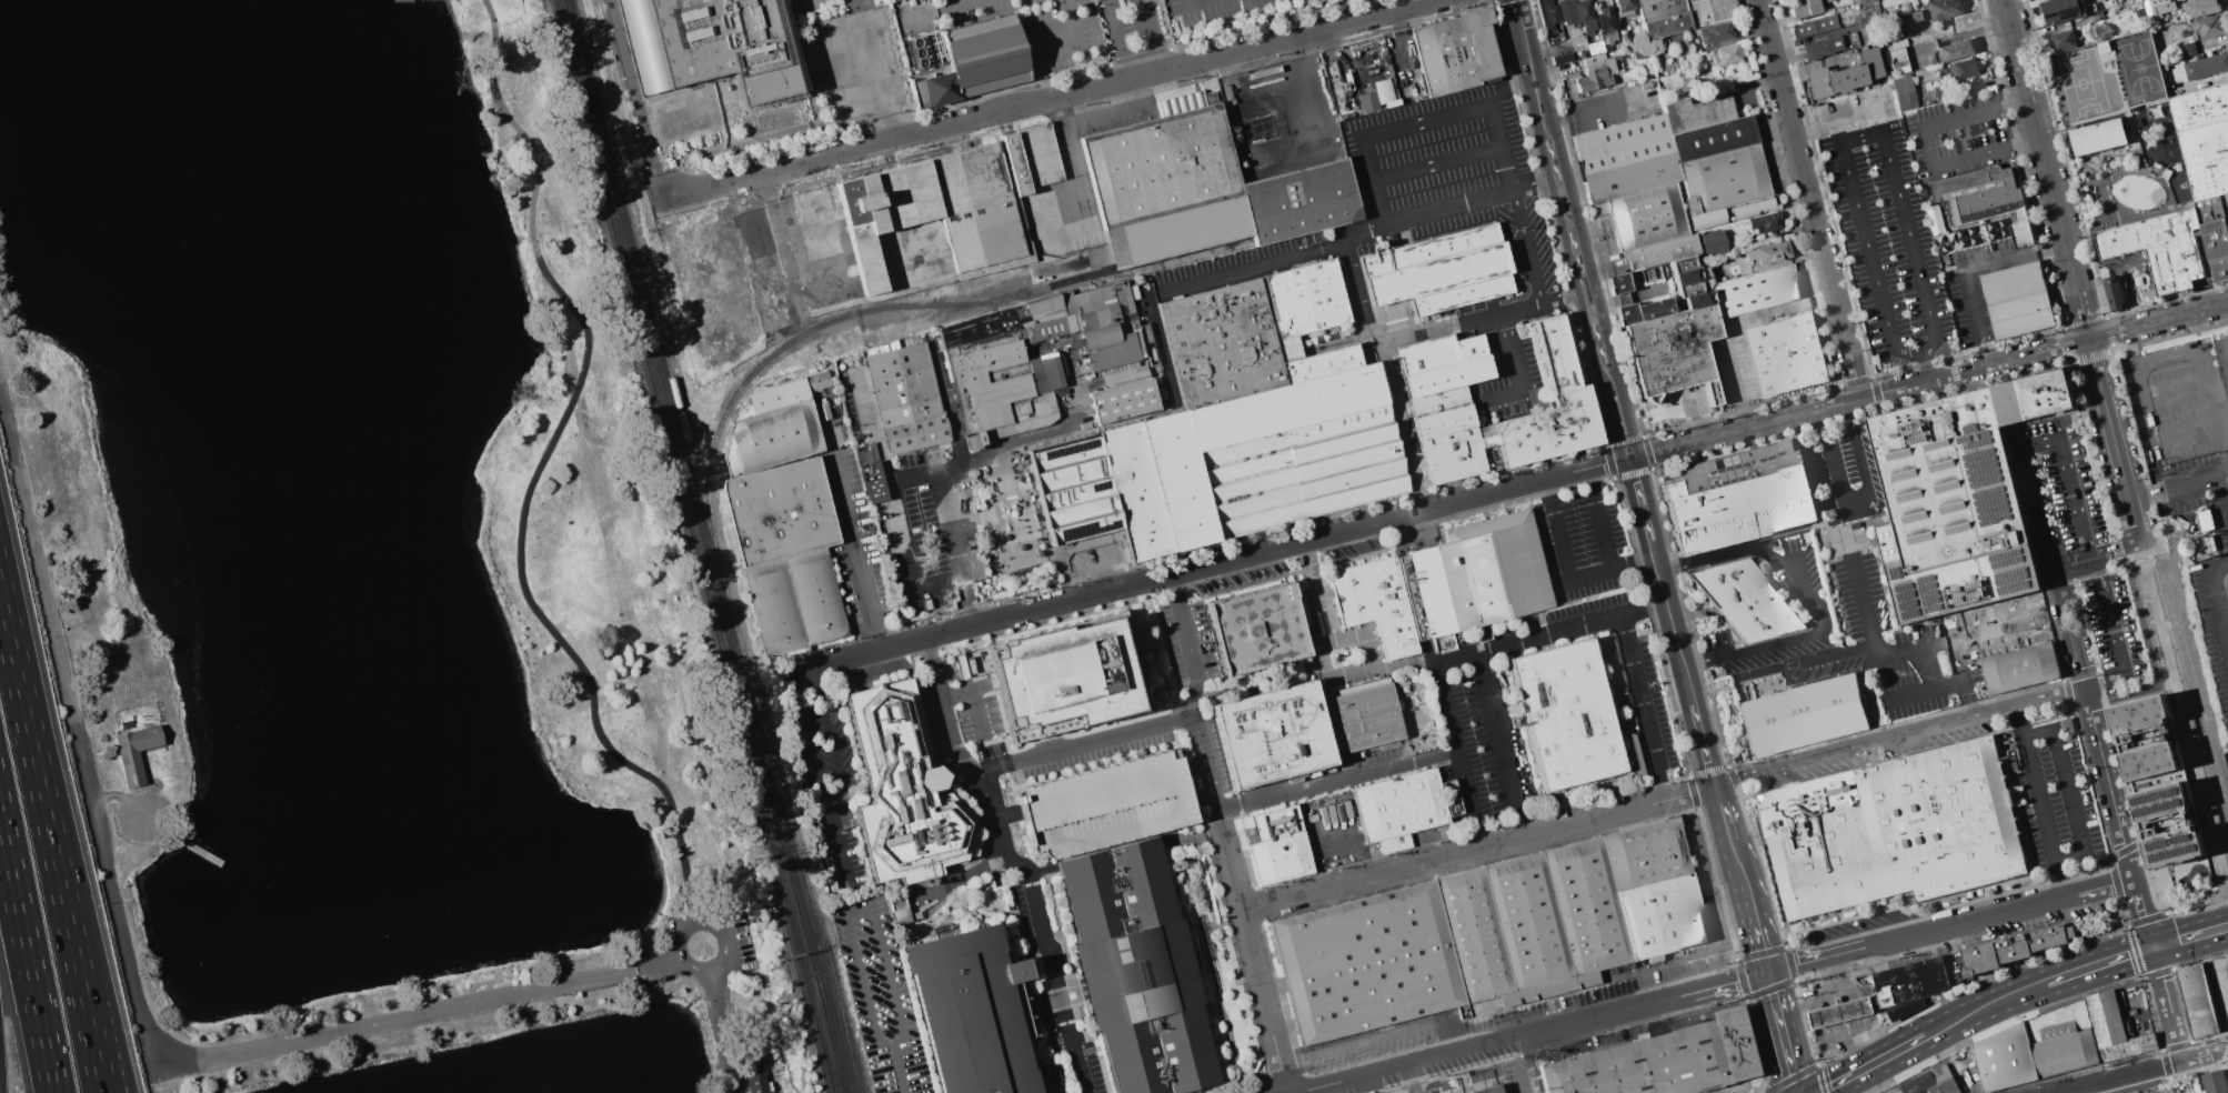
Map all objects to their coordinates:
pier: (401, 0)
road: (1190, 1)
road: (961, 3)
building: (1625, 7)
building: (1806, 7)
building: (2202, 7)
building: (1943, 8)
building: (2157, 8)
building: (1722, 10)
building: (2063, 10)
building: (1567, 11)
building: (1697, 12)
building: (1548, 13)
building: (1585, 14)
building: (1856, 14)
building: (1911, 16)
building: (1663, 17)
building: (1606, 23)
building: (1890, 24)
building: (1813, 26)
building: (2210, 27)
road: (1070, 31)
building: (1574, 32)
building: (1716, 32)
road: (1148, 36)
road: (1118, 39)
building: (1678, 39)
building: (2063, 39)
building: (712, 44)
building: (1656, 46)
building: (2102, 47)
road: (1245, 48)
building: (1820, 48)
building: (2188, 49)
building: (1955, 50)
building: (1454, 52)
building: (985, 54)
building: (1728, 54)
building: (1563, 59)
building: (1594, 62)
building: (2138, 67)
building: (2206, 67)
building: (1965, 68)
road: (874, 69)
building: (1843, 73)
building: (1595, 77)
building: (1684, 79)
park: (2080, 82)
building: (940, 88)
building: (1904, 91)
road: (635, 99)
building: (1368, 101)
building: (2199, 107)
road: (1594, 108)
parking lot: (1850, 110)
building: (1697, 114)
road: (1835, 114)
road: (974, 118)
road: (1282, 119)
road: (1406, 120)
parking lot: (1955, 133)
building: (2098, 137)
building: (1714, 139)
building: (2204, 142)
building: (1622, 143)
road: (1927, 146)
building: (1038, 153)
building: (1162, 162)
road: (1433, 162)
building: (1016, 164)
road: (775, 168)
road: (1075, 170)
road: (2047, 170)
building: (2208, 178)
building: (1627, 179)
building: (1722, 182)
road: (1562, 192)
road: (1808, 199)
building: (2225, 199)
building: (1985, 200)
building: (1299, 201)
building: (1750, 209)
building: (2209, 209)
building: (981, 210)
building: (1646, 215)
building: (2226, 215)
building: (885, 219)
building: (1934, 219)
building: (1765, 222)
road: (1354, 229)
building: (1171, 234)
road: (809, 243)
road: (1524, 243)
building: (1713, 243)
parking lot: (1885, 247)
building: (2159, 247)
building: (2217, 248)
building: (1663, 251)
building: (1767, 253)
building: (1441, 270)
road: (1968, 270)
building: (1685, 275)
road: (827, 281)
building: (1618, 283)
building: (2014, 283)
building: (1754, 292)
building: (2115, 293)
building: (1306, 299)
building: (1093, 300)
building: (1128, 300)
building: (1697, 300)
building: (1268, 307)
building: (1643, 312)
building: (2021, 315)
building: (1097, 318)
building: (1007, 320)
road: (2159, 322)
railway: (821, 324)
building: (1055, 328)
road: (1425, 330)
building: (1100, 337)
road: (1936, 341)
building: (1221, 343)
building: (1784, 350)
building: (1117, 351)
building: (2222, 351)
building: (1366, 352)
building: (1554, 352)
building: (1674, 352)
building: (1437, 353)
road: (2177, 353)
building: (1319, 363)
road: (1923, 364)
building: (1050, 373)
building: (1124, 373)
road: (1524, 374)
building: (1446, 377)
road: (1739, 377)
building: (817, 381)
building: (903, 384)
building: (994, 384)
road: (2181, 388)
building: (779, 395)
road: (1859, 398)
building: (1126, 400)
building: (1438, 400)
building: (1286, 405)
road: (1620, 421)
road: (875, 423)
road: (1399, 427)
building: (1549, 429)
road: (2192, 431)
building: (915, 434)
building: (772, 438)
road: (2115, 440)
building: (1451, 443)
road: (992, 449)
traffic signals: (1629, 458)
road: (540, 470)
building: (1302, 470)
road: (1588, 475)
building: (873, 482)
building: (1157, 484)
road: (1546, 487)
road: (2179, 488)
building: (1075, 489)
railway: (691, 498)
road: (1639, 499)
building: (1743, 499)
building: (1963, 500)
road: (1855, 502)
road: (2035, 509)
building: (780, 512)
road: (1398, 515)
building: (2204, 520)
road: (1602, 527)
road: (904, 534)
road: (1558, 538)
road: (856, 539)
parking lot: (2081, 539)
silo: (2221, 545)
railway: (684, 546)
railway: (693, 546)
road: (954, 546)
road: (1708, 555)
road: (2096, 556)
road: (2092, 558)
park: (362, 563)
road: (642, 565)
road: (1606, 572)
building: (1474, 575)
road: (940, 583)
building: (815, 595)
road: (2220, 595)
building: (1748, 601)
building: (1375, 603)
building: (774, 605)
road: (1046, 605)
road: (2226, 609)
building: (2006, 620)
road: (1673, 621)
parking lot: (2212, 621)
road: (658, 625)
road: (2067, 626)
building: (1261, 628)
road: (1870, 631)
road: (1552, 632)
road: (1806, 634)
building: (2028, 640)
road: (1187, 644)
road: (1840, 652)
road: (857, 654)
road: (2151, 656)
road: (1333, 659)
building: (2023, 669)
building: (1066, 676)
road: (1961, 676)
road: (23, 682)
road: (2166, 683)
road: (1265, 685)
road: (1924, 691)
road: (973, 693)
road: (1870, 695)
railway: (754, 703)
road: (1642, 708)
road: (77, 712)
building: (1566, 715)
building: (1359, 716)
building: (1805, 716)
building: (2066, 724)
road: (2184, 730)
road: (806, 734)
building: (1273, 734)
road: (1899, 734)
road: (1706, 742)
road: (1085, 744)
road: (1501, 744)
road: (955, 749)
building: (136, 751)
road: (666, 751)
road: (1457, 755)
road: (1207, 762)
road: (1337, 779)
road: (839, 782)
road: (2108, 782)
building: (2159, 782)
building: (904, 791)
road: (2068, 792)
building: (1452, 798)
road: (127, 799)
road: (2039, 800)
building: (1106, 804)
parking lot: (1106, 804)
building: (1398, 808)
parking lot: (139, 818)
road: (1728, 825)
building: (1893, 834)
road: (1479, 849)
pier: (197, 850)
building: (1281, 858)
road: (957, 879)
building: (902, 911)
road: (2142, 912)
road: (1754, 919)
road: (691, 924)
road: (1950, 925)
road: (2209, 933)
building: (1489, 934)
road: (2189, 935)
road: (74, 944)
road: (89, 944)
parking lot: (767, 944)
traffic signals: (2152, 946)
road: (1252, 950)
building: (2013, 954)
road: (27, 956)
road: (2101, 962)
road: (1050, 965)
building: (1138, 971)
traffic signals: (1767, 972)
road: (1769, 980)
building: (1913, 984)
road: (2221, 986)
road: (880, 1000)
building: (2195, 1001)
road: (2167, 1003)
road: (1645, 1004)
building: (1840, 1012)
road: (428, 1013)
building: (971, 1013)
building: (2114, 1029)
road: (720, 1031)
road: (1782, 1032)
road: (1934, 1034)
railway: (831, 1043)
railway: (833, 1044)
building: (2038, 1046)
road: (2204, 1054)
road: (2227, 1061)
road: (1521, 1062)
building: (1667, 1063)
road: (1411, 1064)
road: (2119, 1076)
road: (1414, 1079)
road: (0, 1081)
building: (1930, 1082)
building: (2214, 1082)
building: (756, 1083)
road: (1794, 1083)
building: (1487, 1090)

